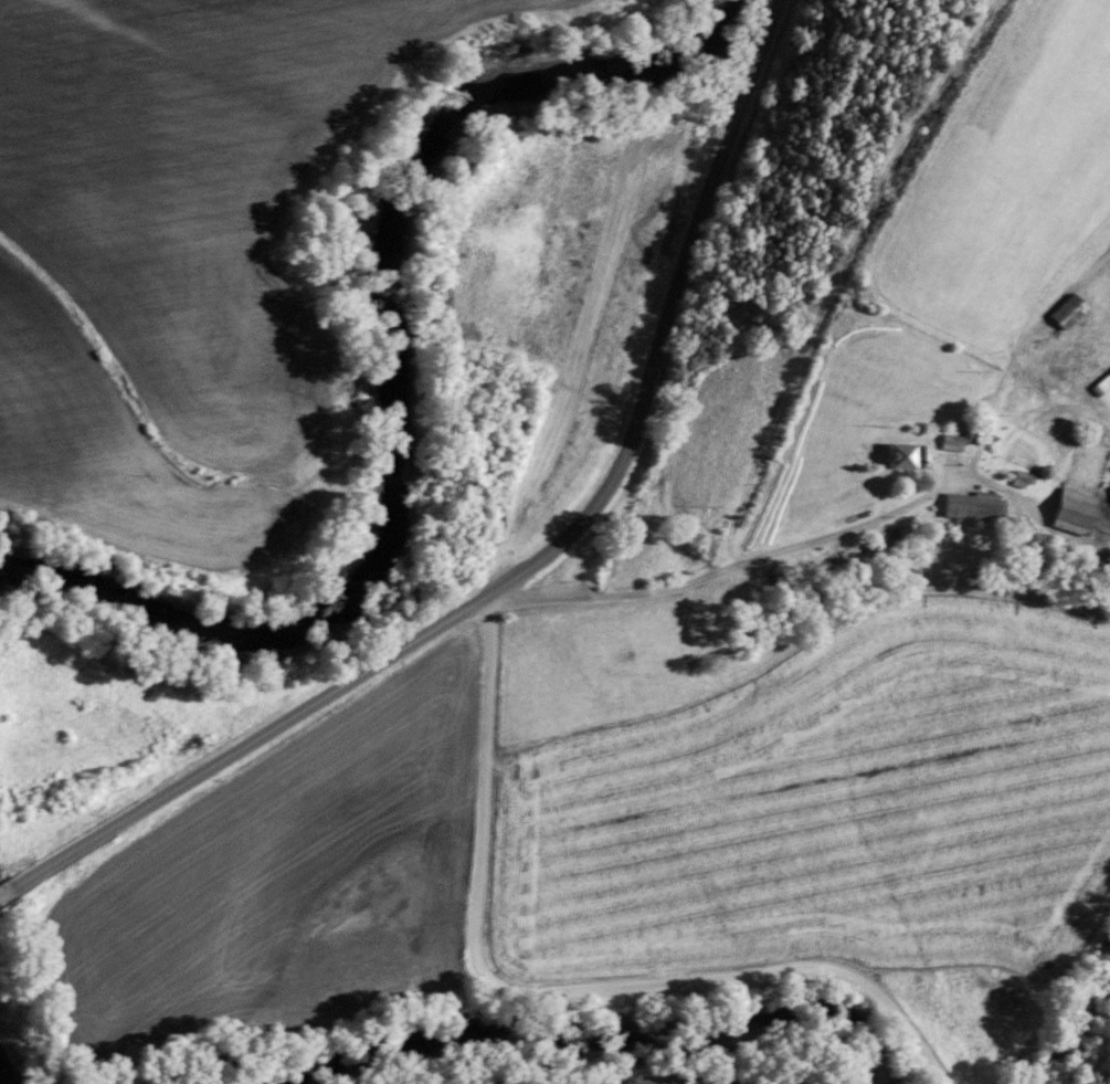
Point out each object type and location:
building: (1069, 313)
building: (1109, 373)
building: (953, 445)
building: (906, 459)
building: (973, 508)
building: (1075, 513)
road: (807, 540)
road: (532, 566)
road: (550, 991)

